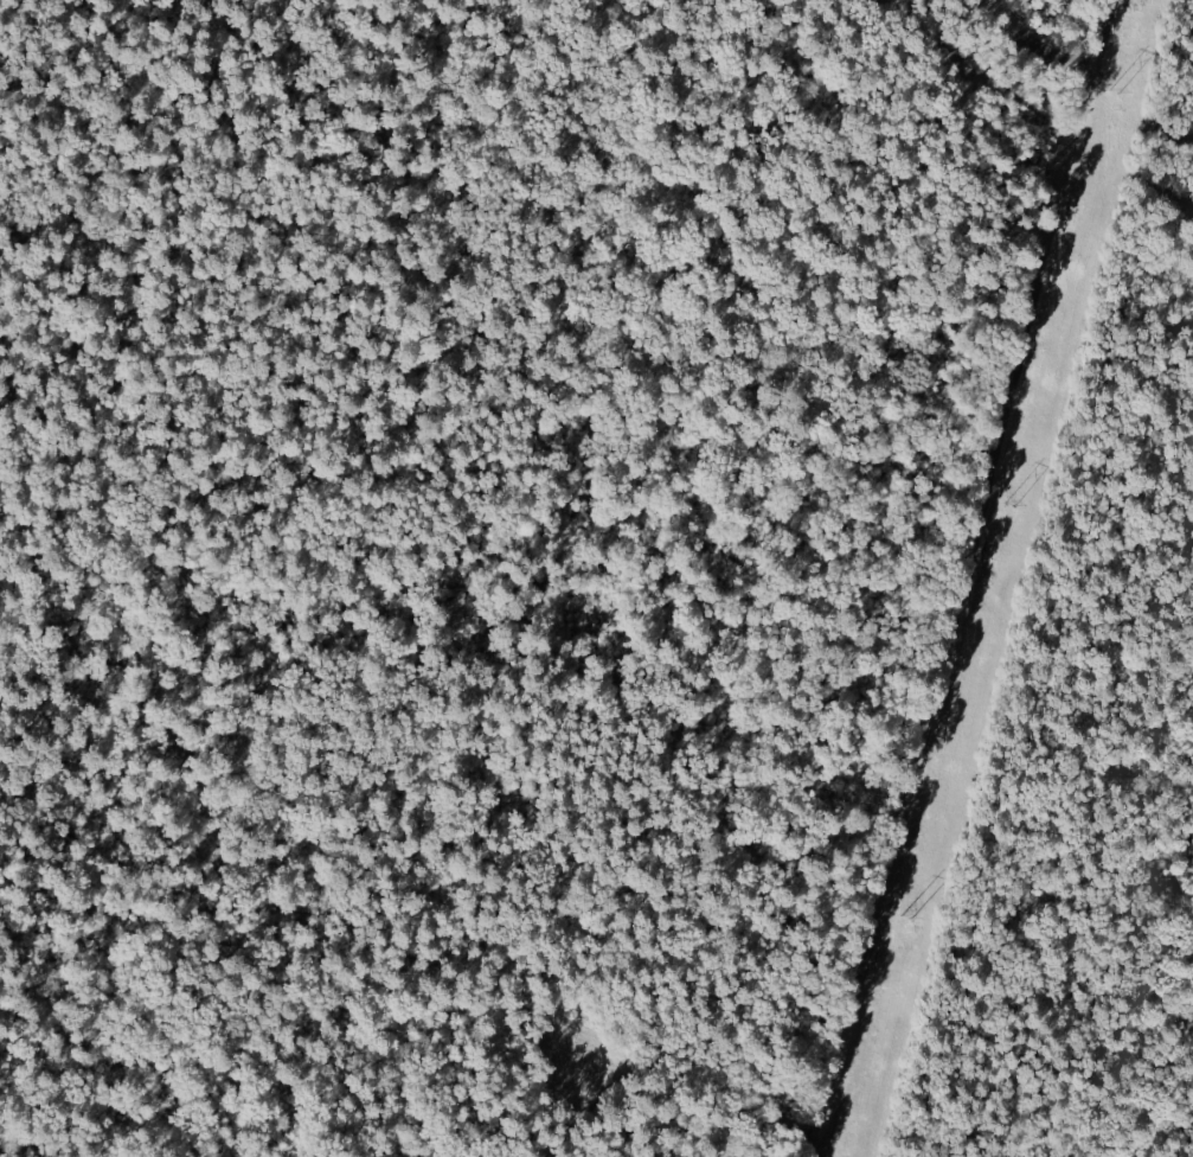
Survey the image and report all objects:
road: (1031, 55)
power tower: (1116, 92)
power tower: (1012, 504)
road: (967, 578)
power tower: (906, 919)

